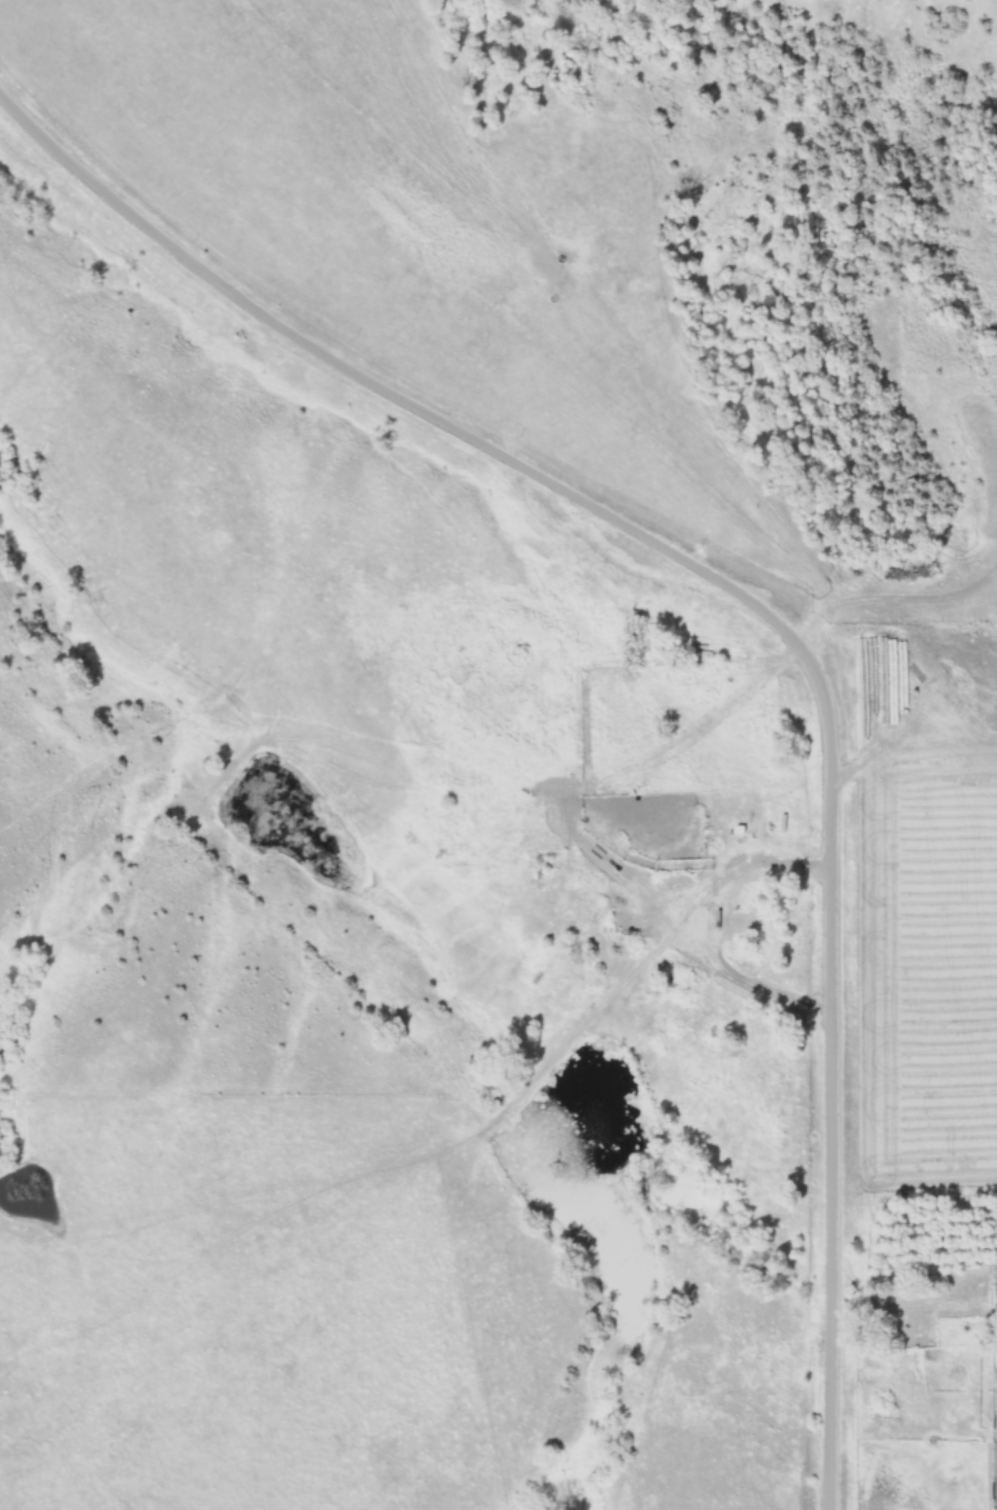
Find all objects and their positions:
road: (759, 615)
building: (729, 818)
building: (582, 948)
building: (967, 1313)

